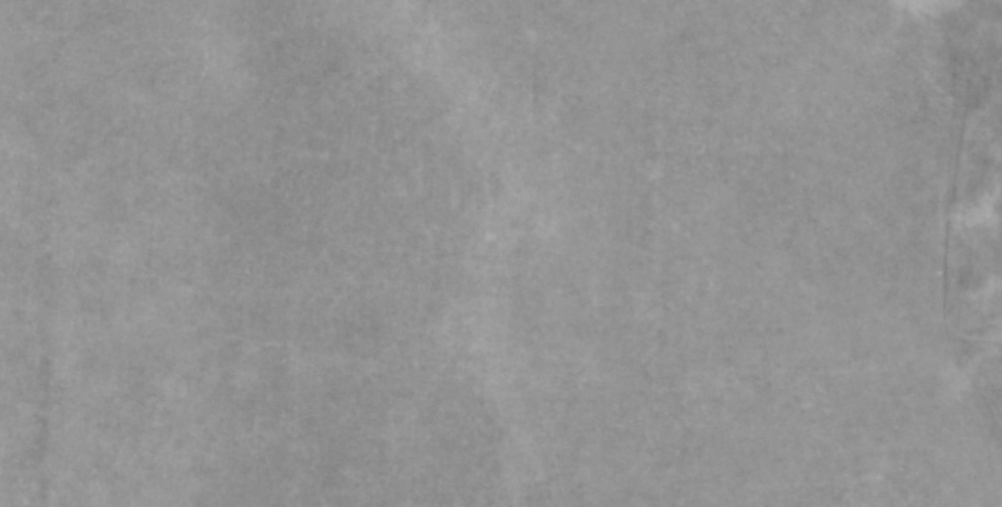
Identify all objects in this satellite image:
road: (944, 238)

